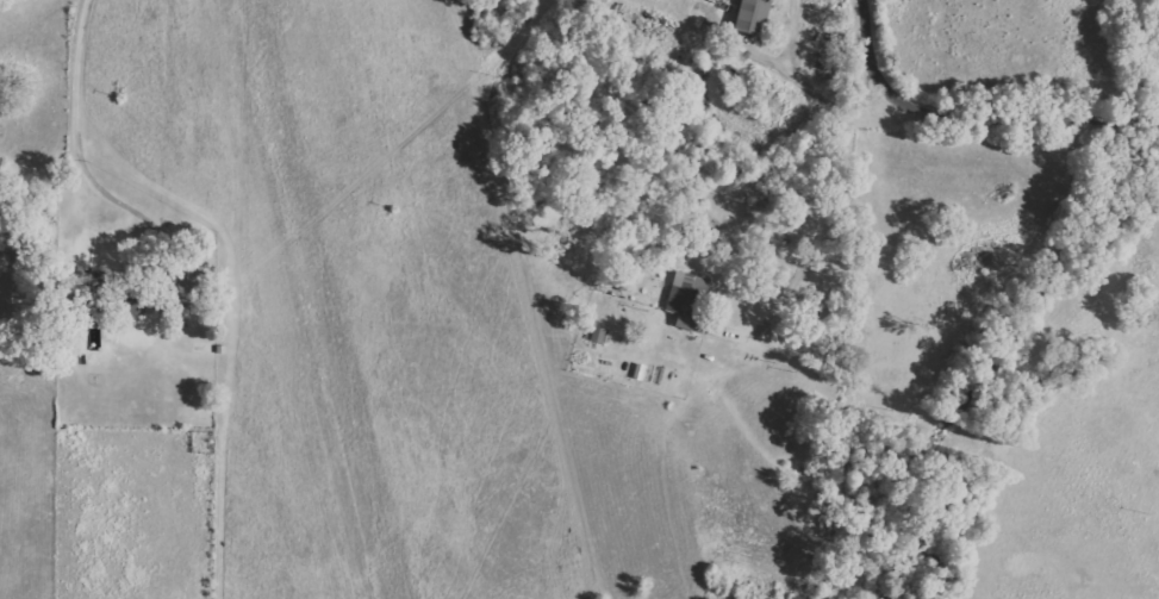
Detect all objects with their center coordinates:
building: (746, 15)
road: (831, 99)
road: (977, 112)
road: (79, 148)
road: (814, 237)
building: (684, 301)

